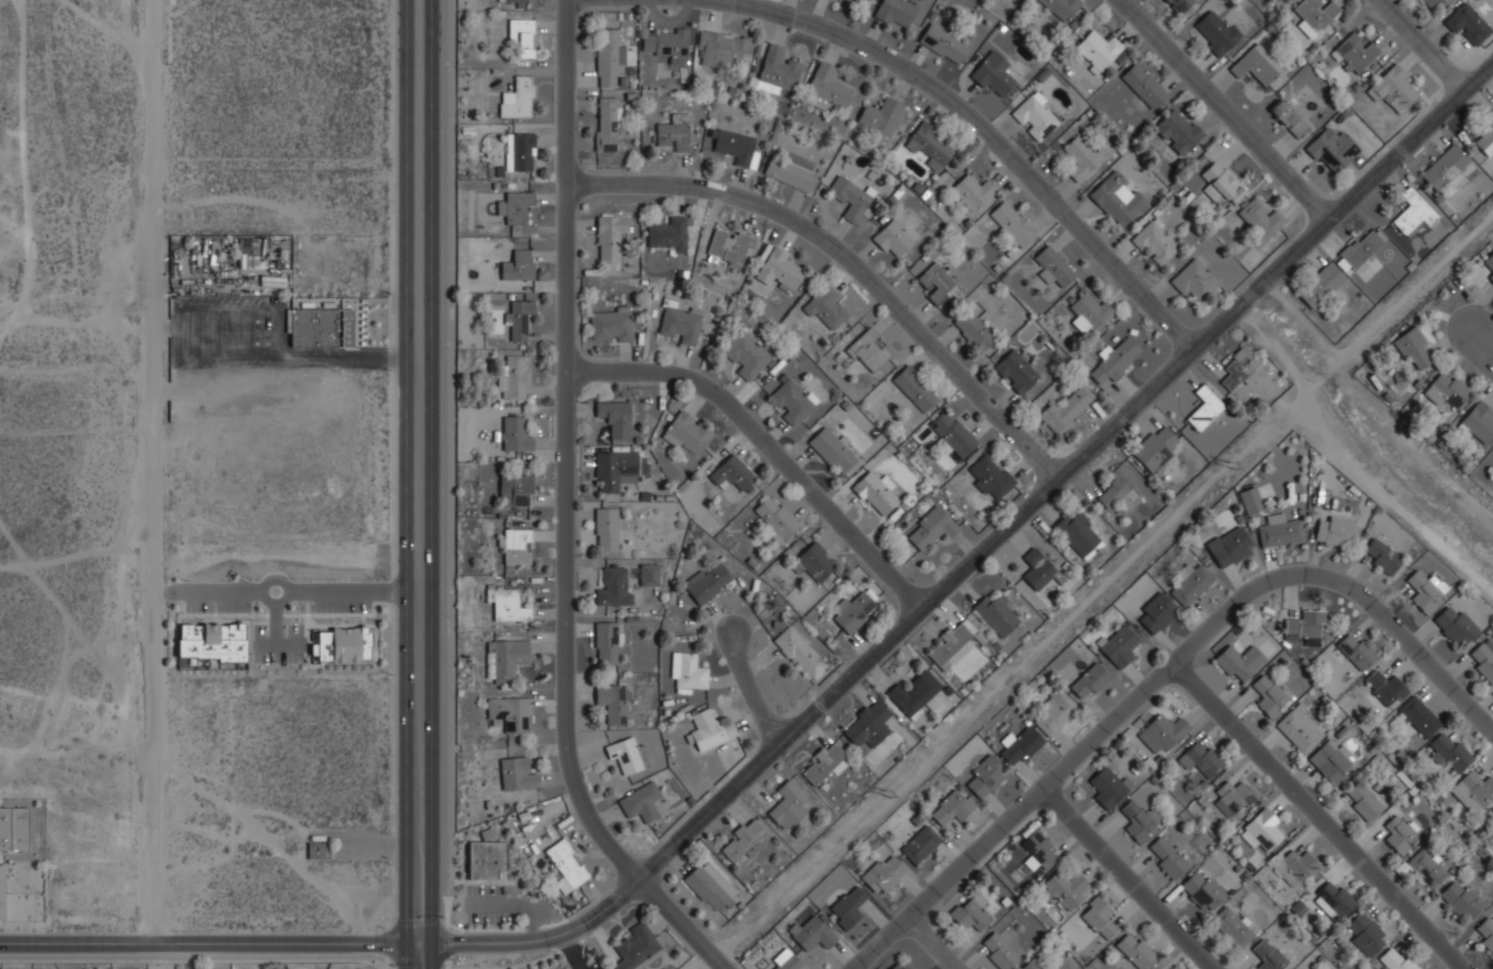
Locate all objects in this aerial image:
building: (511, 2)
building: (1430, 3)
building: (1180, 5)
building: (1061, 8)
building: (894, 12)
building: (1314, 15)
building: (1467, 23)
building: (1215, 31)
building: (522, 37)
building: (943, 43)
building: (666, 45)
road: (1422, 46)
building: (721, 47)
building: (1100, 48)
building: (1353, 53)
building: (608, 57)
building: (1257, 65)
building: (776, 71)
building: (992, 74)
building: (828, 85)
building: (1144, 85)
building: (1393, 88)
building: (517, 98)
road: (1223, 111)
building: (880, 116)
building: (1034, 117)
building: (1288, 119)
building: (606, 124)
road: (983, 130)
building: (1178, 131)
building: (674, 132)
building: (1485, 136)
building: (929, 146)
building: (736, 147)
building: (1332, 150)
building: (520, 151)
building: (1081, 156)
building: (1446, 167)
building: (790, 170)
building: (1221, 183)
building: (971, 193)
building: (849, 196)
building: (1117, 198)
building: (514, 206)
building: (1412, 213)
building: (1260, 219)
building: (1012, 224)
building: (667, 233)
building: (609, 237)
building: (894, 237)
building: (1155, 242)
building: (727, 247)
building: (1359, 248)
road: (850, 259)
building: (518, 265)
building: (1051, 266)
building: (1489, 268)
building: (780, 270)
building: (1194, 280)
building: (936, 282)
building: (1320, 285)
building: (826, 307)
road: (239, 311)
building: (1088, 313)
building: (517, 319)
building: (610, 324)
building: (680, 325)
road: (164, 327)
building: (321, 327)
building: (973, 330)
building: (1413, 348)
building: (869, 350)
road: (1482, 351)
road: (277, 354)
building: (745, 354)
building: (1115, 360)
building: (1238, 367)
building: (1016, 372)
building: (512, 378)
building: (914, 388)
building: (1446, 389)
building: (790, 401)
building: (1204, 408)
building: (1065, 409)
building: (615, 417)
building: (1479, 421)
building: (514, 434)
building: (687, 434)
building: (952, 434)
road: (766, 444)
building: (1155, 447)
building: (831, 449)
power tower: (1230, 465)
building: (615, 469)
road: (155, 473)
building: (732, 474)
building: (991, 477)
road: (407, 484)
road: (431, 484)
building: (1116, 485)
building: (515, 490)
building: (875, 492)
building: (1250, 500)
road: (566, 512)
building: (775, 518)
building: (930, 528)
building: (605, 529)
building: (1280, 530)
building: (1334, 530)
building: (1078, 534)
building: (515, 545)
building: (1230, 547)
road: (982, 550)
building: (1381, 555)
building: (813, 561)
building: (649, 574)
building: (1042, 575)
road: (268, 579)
building: (707, 582)
building: (1191, 583)
building: (613, 587)
road: (208, 589)
road: (346, 590)
building: (1426, 590)
building: (506, 604)
building: (854, 611)
building: (1157, 613)
building: (997, 614)
building: (1306, 626)
building: (1454, 626)
road: (272, 635)
building: (212, 642)
building: (606, 642)
road: (263, 644)
building: (951, 644)
building: (342, 645)
building: (1118, 645)
building: (1356, 650)
building: (797, 651)
building: (505, 659)
building: (1239, 661)
building: (1482, 661)
building: (687, 671)
road: (1164, 675)
building: (1090, 681)
road: (750, 685)
building: (1385, 688)
building: (1492, 693)
building: (916, 694)
building: (1269, 696)
building: (613, 701)
building: (1055, 712)
building: (508, 713)
building: (1419, 716)
building: (868, 724)
building: (708, 729)
building: (1299, 731)
building: (1161, 732)
building: (1020, 745)
building: (1449, 750)
building: (627, 755)
building: (1202, 759)
building: (1331, 760)
building: (823, 762)
building: (517, 774)
building: (984, 778)
building: (1109, 788)
building: (1474, 792)
power tower: (887, 795)
building: (1234, 796)
building: (1363, 801)
building: (643, 803)
building: (787, 805)
building: (952, 807)
building: (1492, 811)
road: (1317, 817)
building: (1140, 821)
building: (13, 829)
building: (1261, 830)
building: (1399, 834)
building: (741, 840)
building: (919, 844)
building: (315, 850)
building: (1038, 851)
building: (486, 857)
building: (1166, 857)
building: (566, 865)
building: (1296, 868)
building: (1426, 868)
building: (883, 874)
road: (1127, 879)
building: (709, 886)
building: (1063, 890)
building: (1201, 890)
building: (2, 891)
building: (1335, 898)
building: (1461, 901)
building: (847, 907)
building: (971, 912)
building: (1098, 917)
building: (1232, 927)
building: (813, 932)
building: (1484, 933)
building: (1366, 934)
traffic signals: (406, 944)
traffic signals: (431, 944)
road: (930, 944)
road: (215, 945)
road: (448, 947)
building: (636, 948)
building: (1135, 950)
building: (998, 951)
building: (1269, 956)
building: (1395, 959)
building: (787, 961)
road: (704, 962)
building: (1032, 964)
building: (900, 965)

